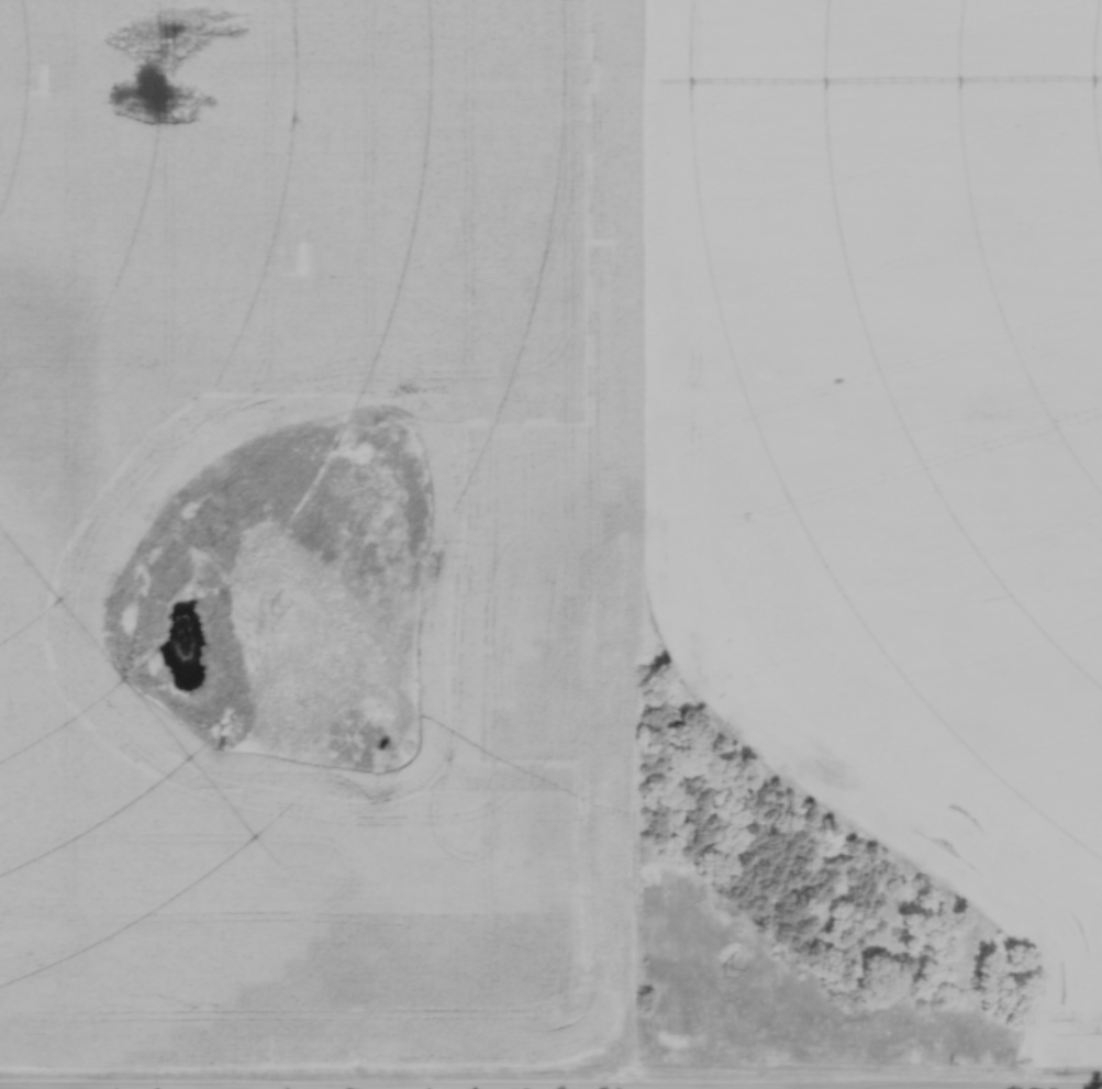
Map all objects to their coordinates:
power tower: (275, 612)
power tower: (727, 975)

